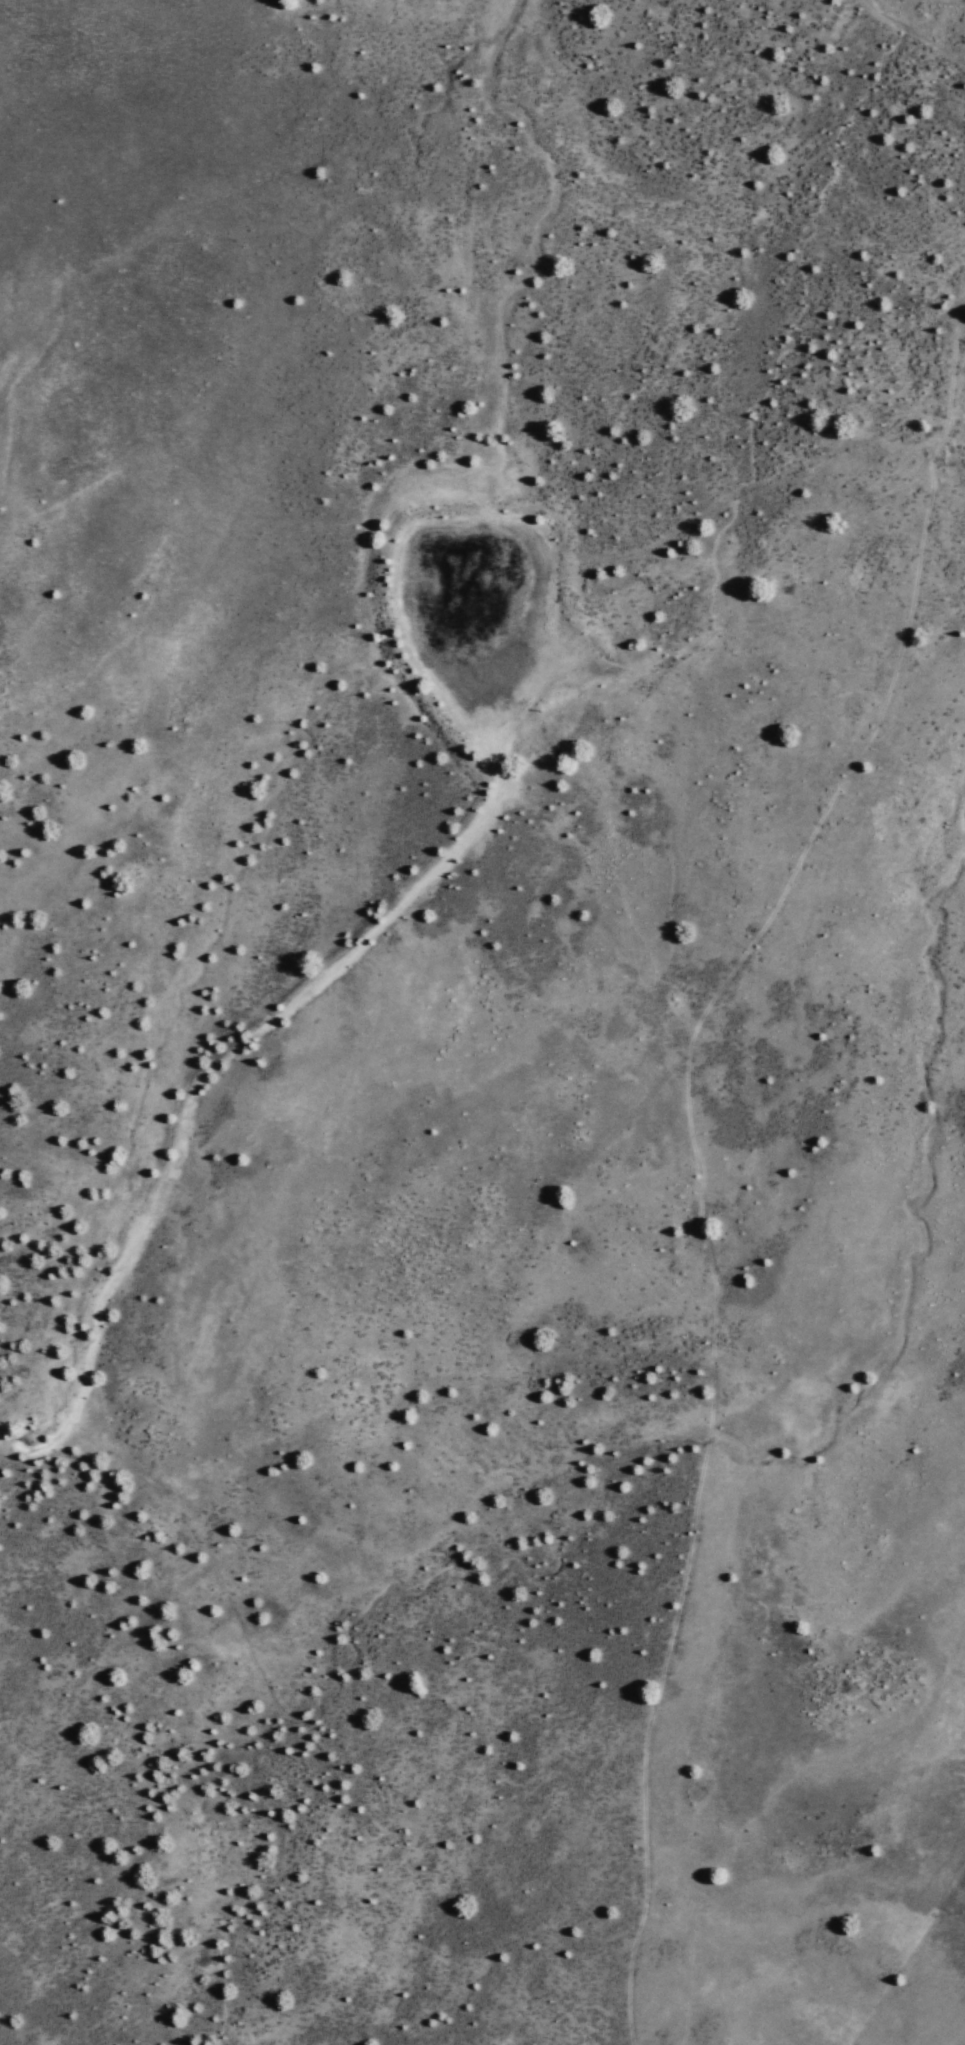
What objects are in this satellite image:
road: (912, 33)

